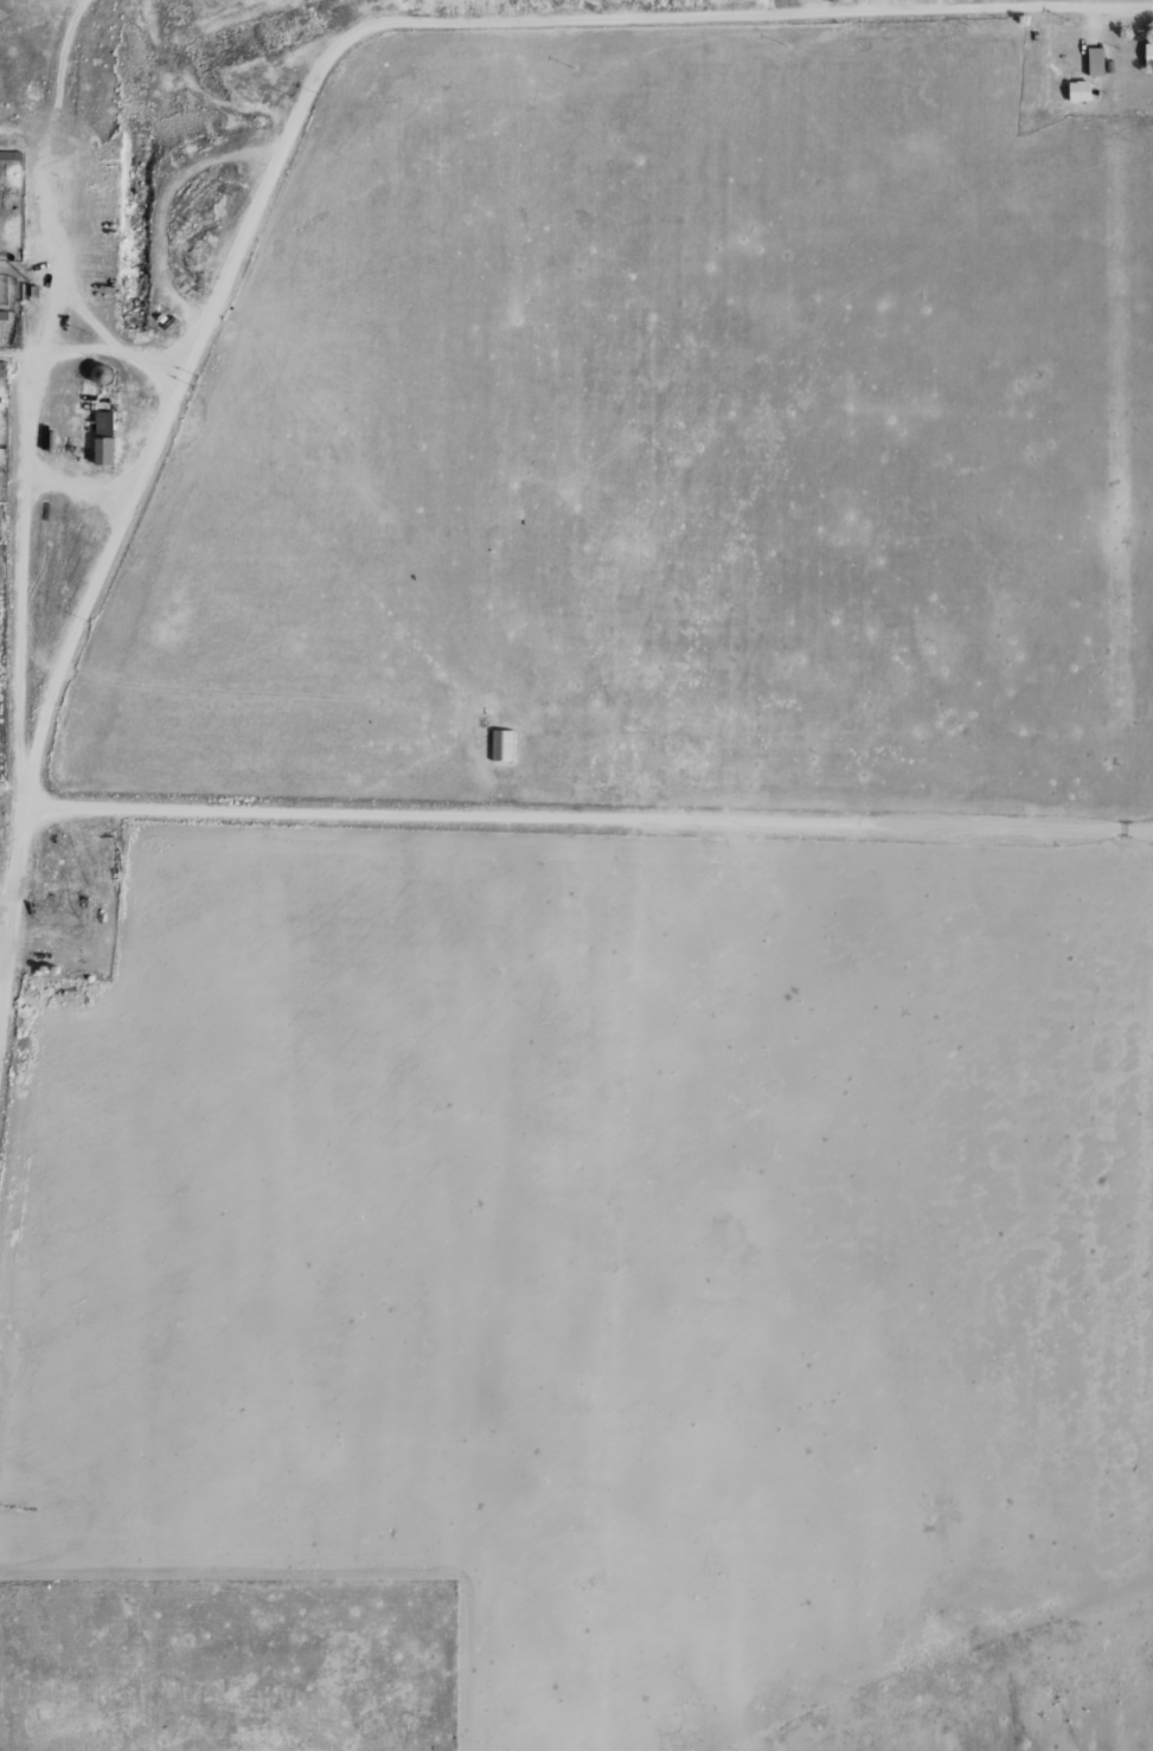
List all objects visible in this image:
road: (905, 5)
road: (821, 7)
road: (363, 14)
road: (1095, 24)
building: (1096, 60)
building: (1081, 89)
road: (21, 135)
building: (11, 154)
road: (169, 205)
building: (33, 290)
building: (2, 314)
road: (88, 314)
road: (105, 348)
building: (2, 367)
building: (103, 372)
road: (31, 391)
building: (105, 436)
road: (109, 552)
road: (275, 691)
building: (501, 744)
road: (12, 900)
building: (45, 967)
building: (57, 968)
building: (37, 970)
building: (90, 976)

